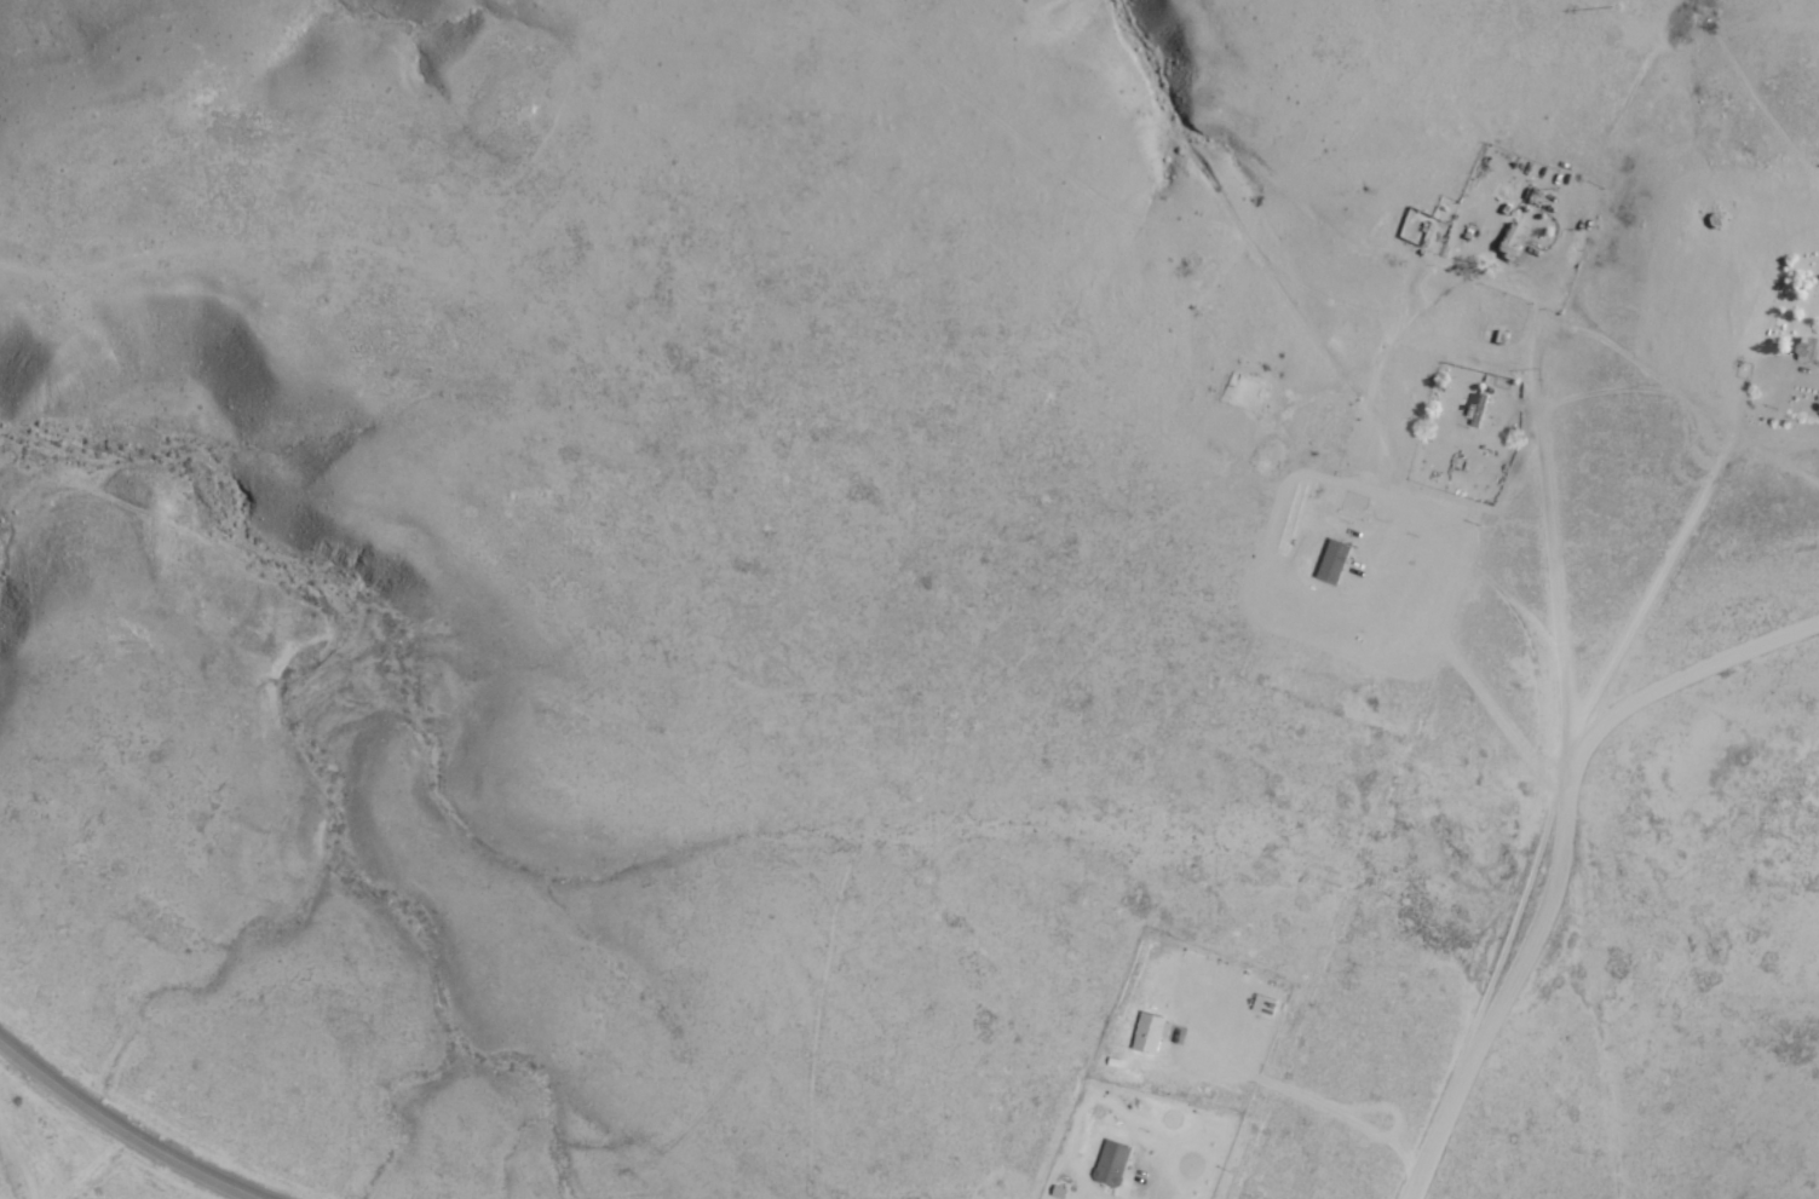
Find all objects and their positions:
building: (1719, 219)
road: (1479, 224)
building: (1512, 242)
road: (1682, 316)
road: (1792, 322)
building: (1496, 335)
building: (1804, 351)
building: (1478, 410)
building: (1147, 1033)
road: (1495, 1045)
road: (128, 1130)
building: (1111, 1164)
road: (122, 1169)

